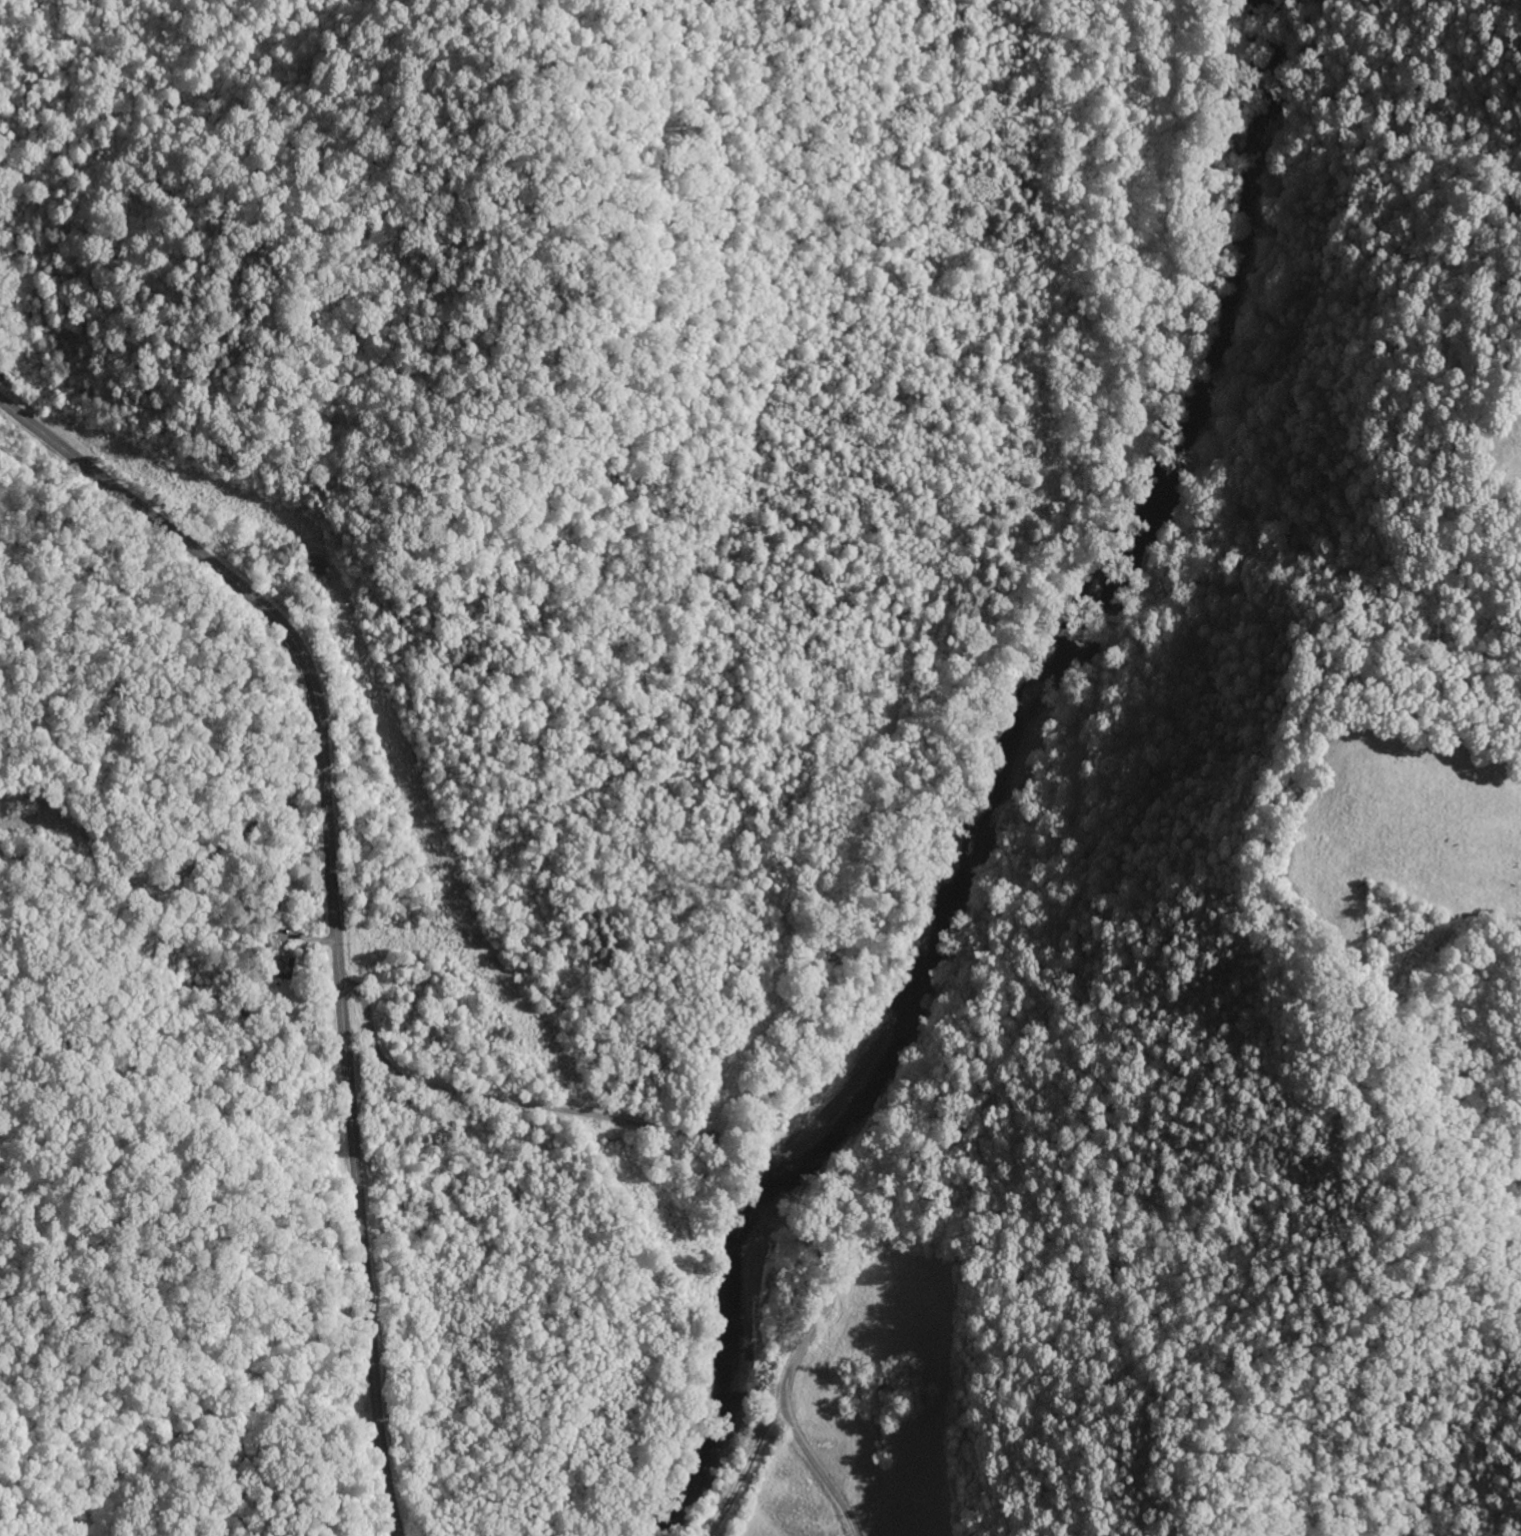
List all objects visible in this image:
road: (333, 891)
road: (729, 1148)

